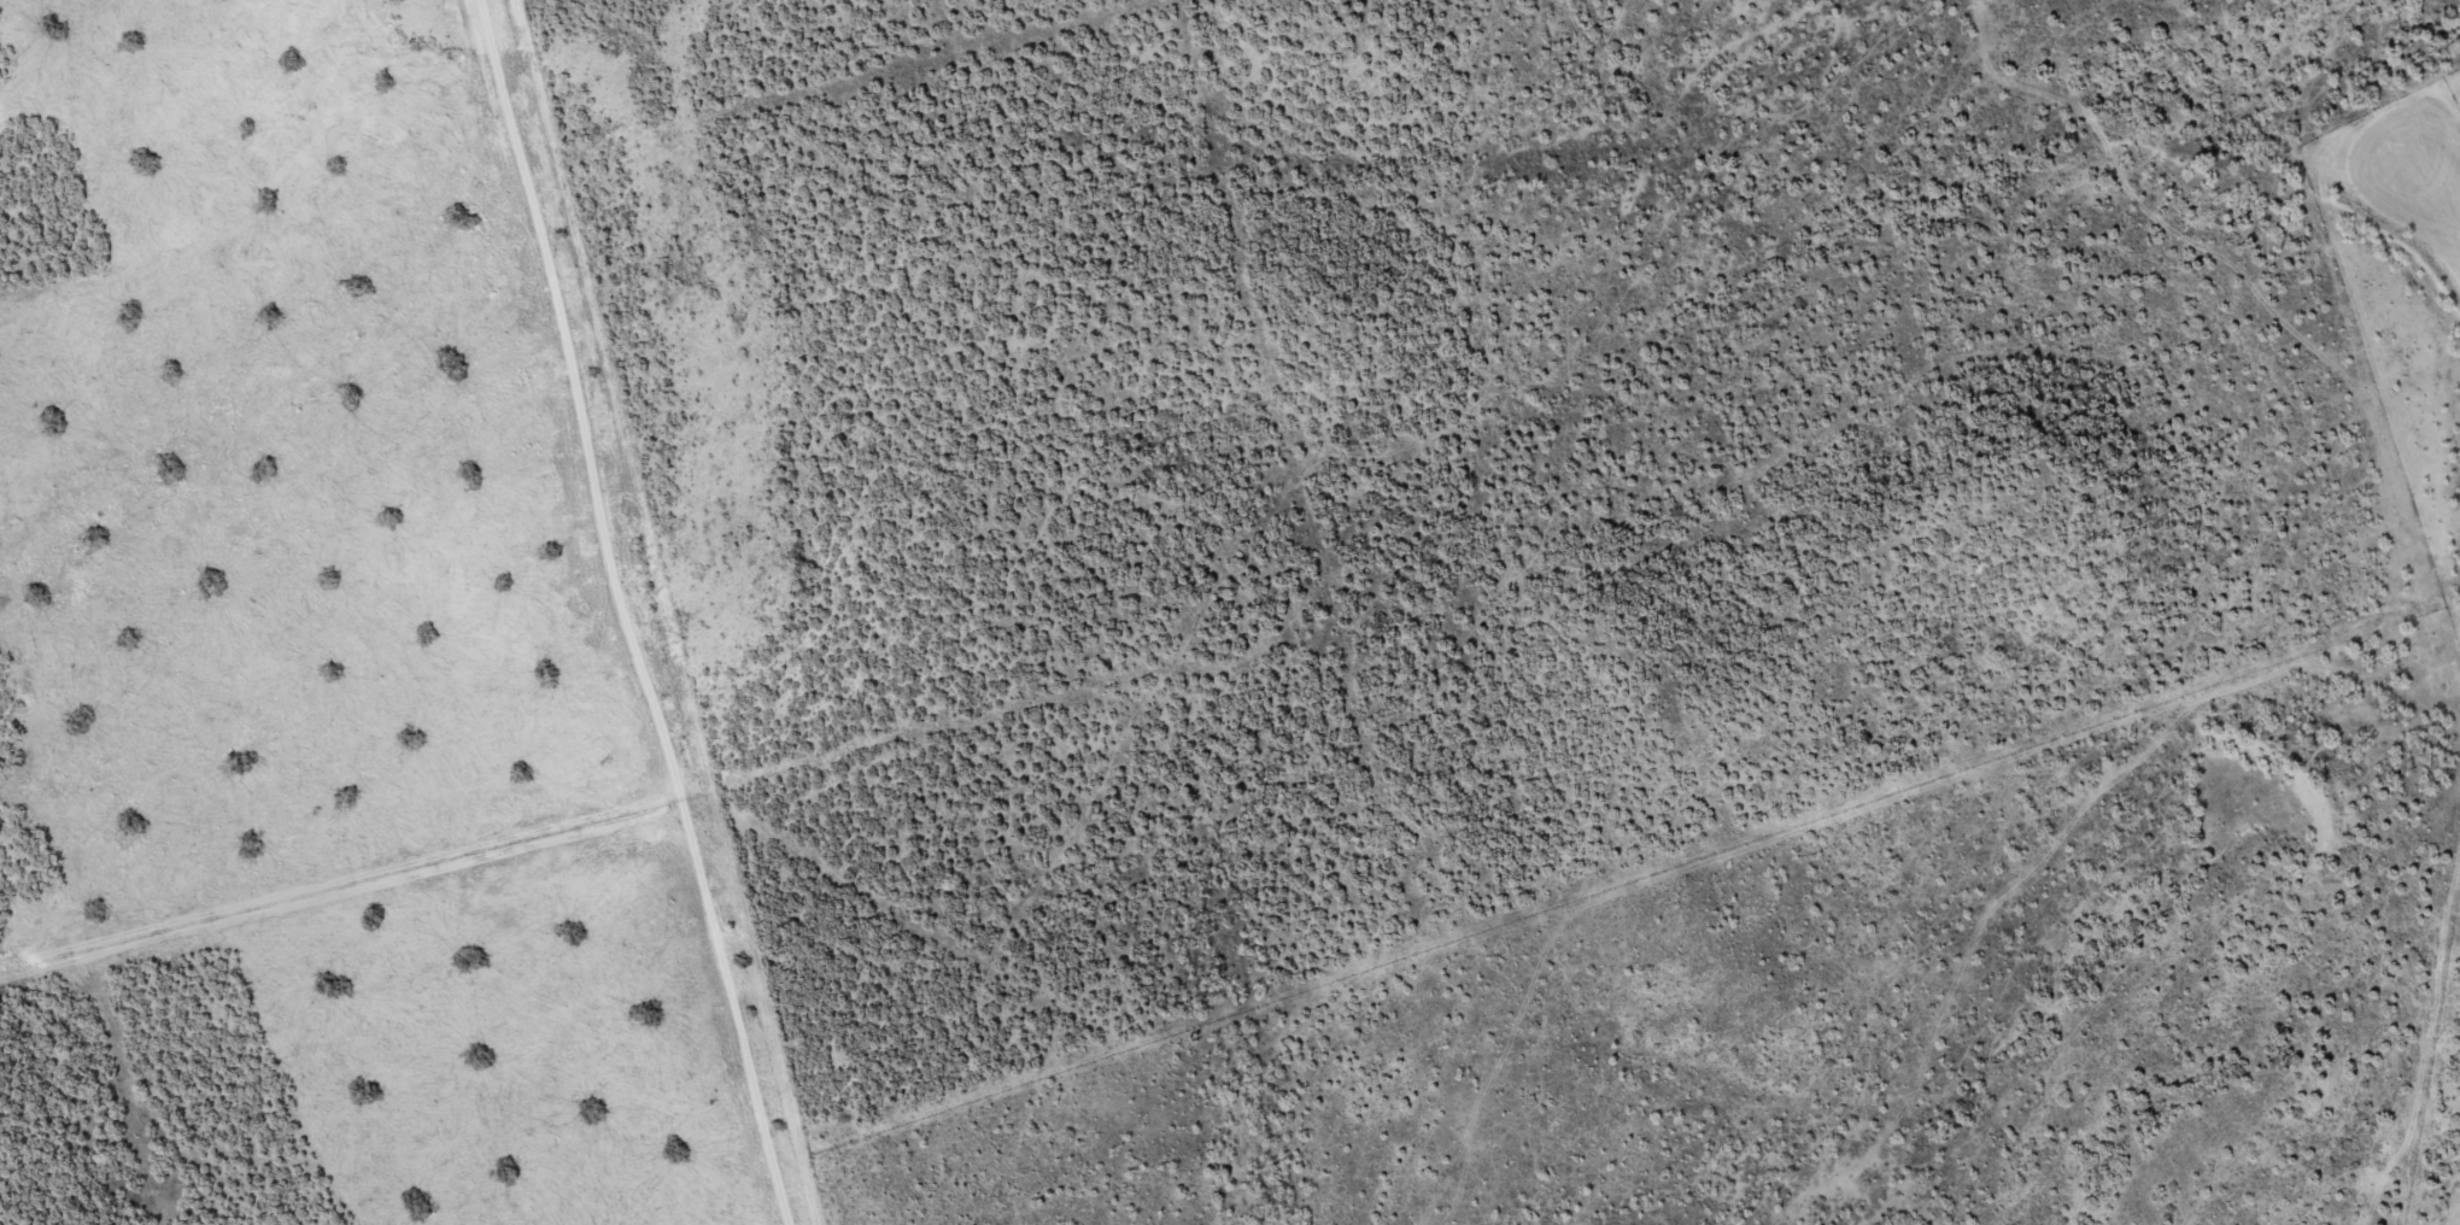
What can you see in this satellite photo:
road: (1922, 1048)

